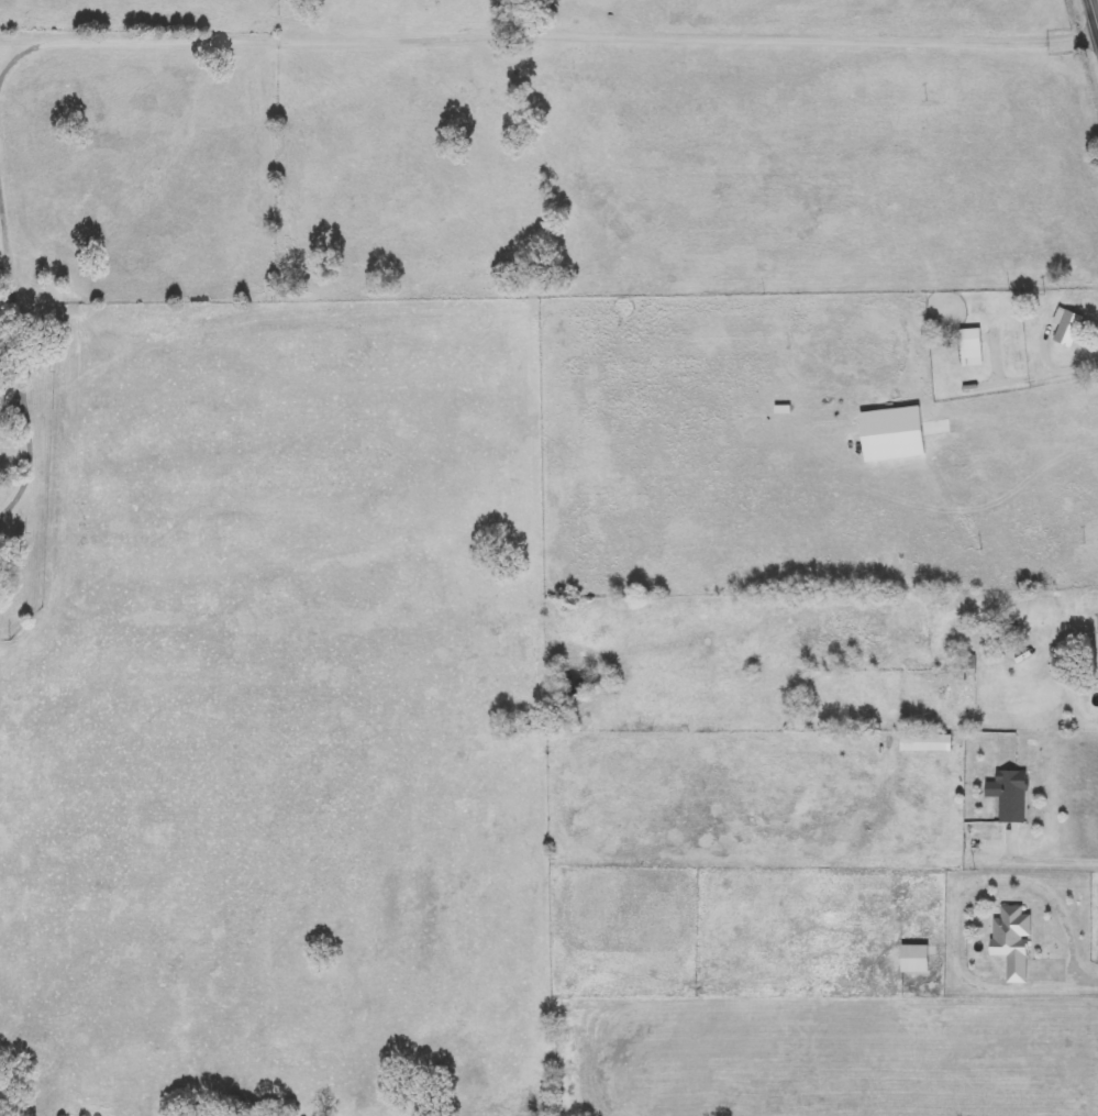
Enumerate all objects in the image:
road: (1093, 15)
road: (533, 35)
road: (23, 41)
building: (1068, 328)
road: (23, 329)
building: (951, 351)
road: (1072, 364)
building: (1005, 638)
road: (1073, 638)
building: (963, 662)
building: (927, 742)
building: (1012, 797)
road: (1049, 860)
road: (960, 902)
building: (1012, 941)
building: (916, 959)
road: (1088, 985)

